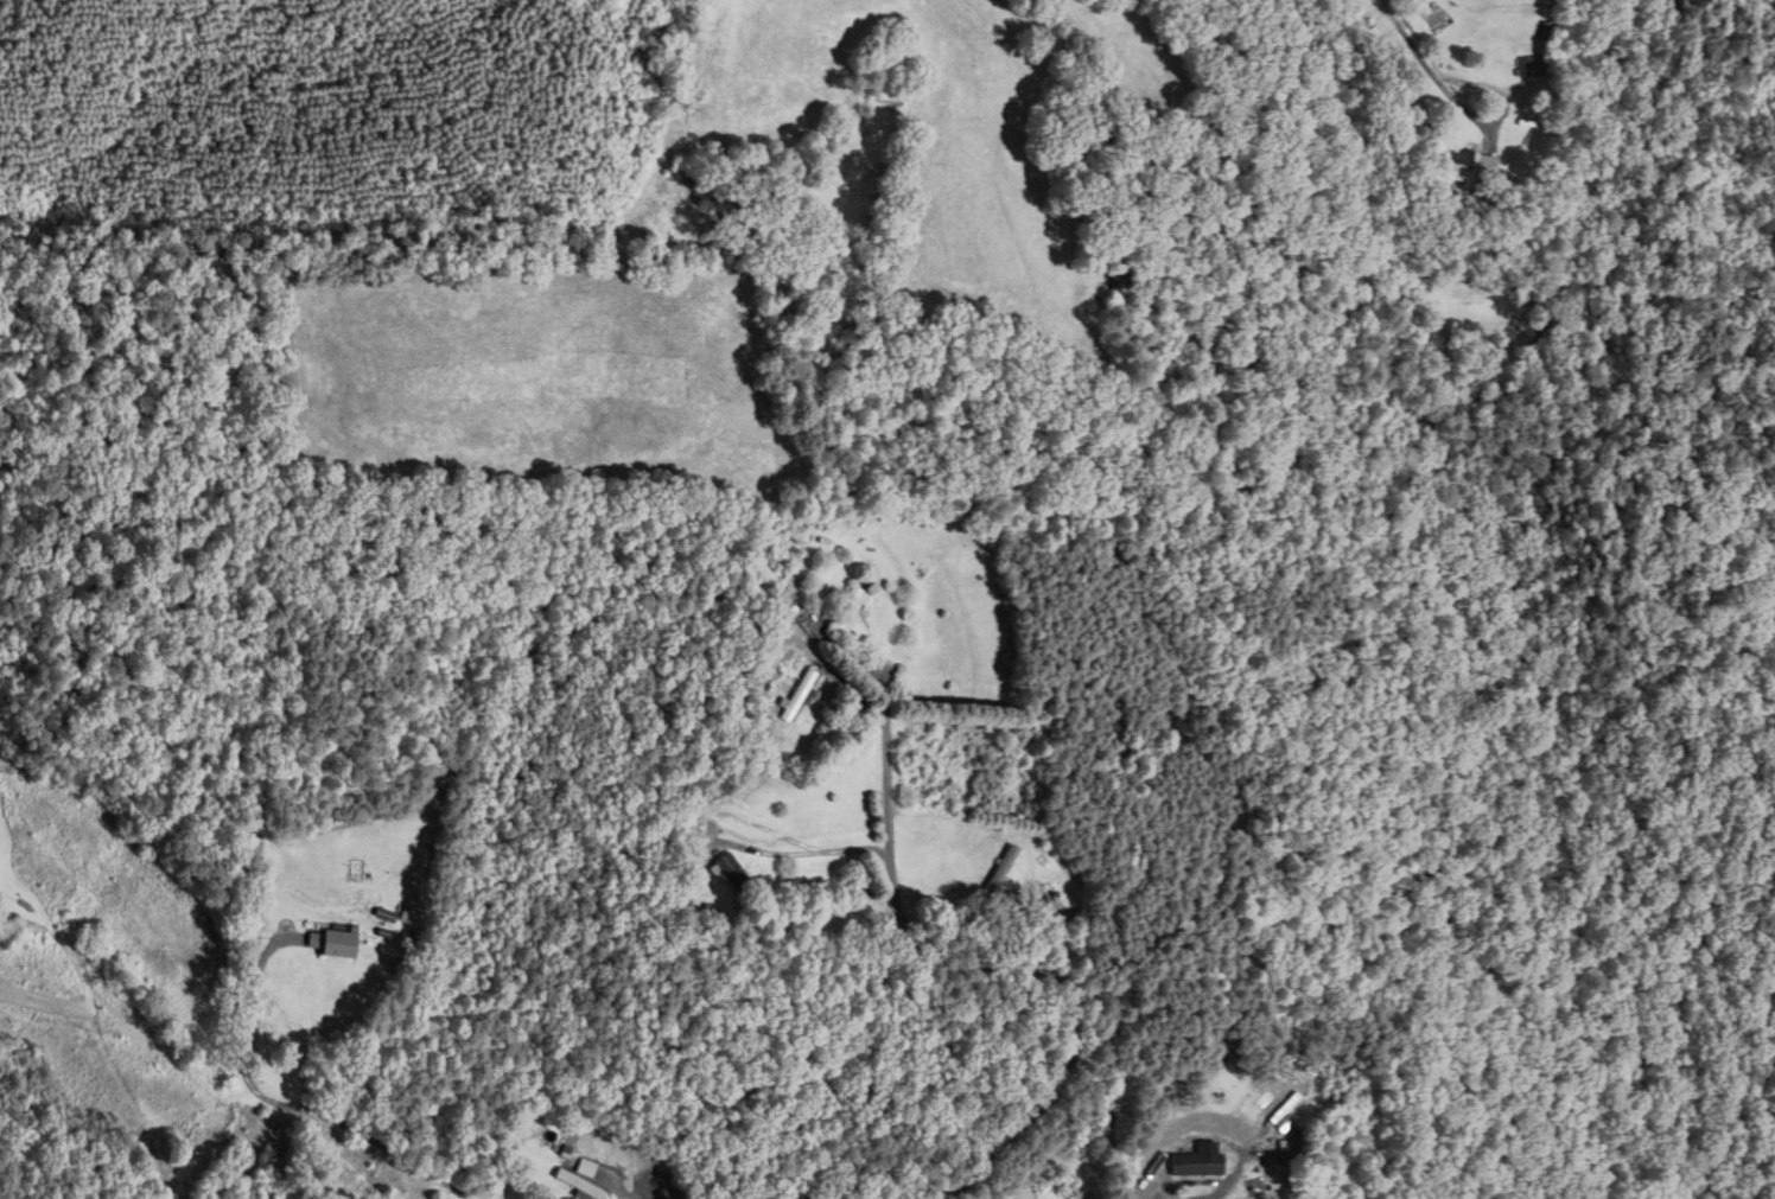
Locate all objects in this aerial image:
building: (1464, 168)
building: (842, 608)
road: (821, 664)
building: (790, 696)
road: (737, 844)
building: (995, 870)
building: (721, 872)
building: (332, 943)
road: (1005, 969)
road: (291, 1102)
building: (1190, 1161)
building: (583, 1167)
building: (578, 1186)

